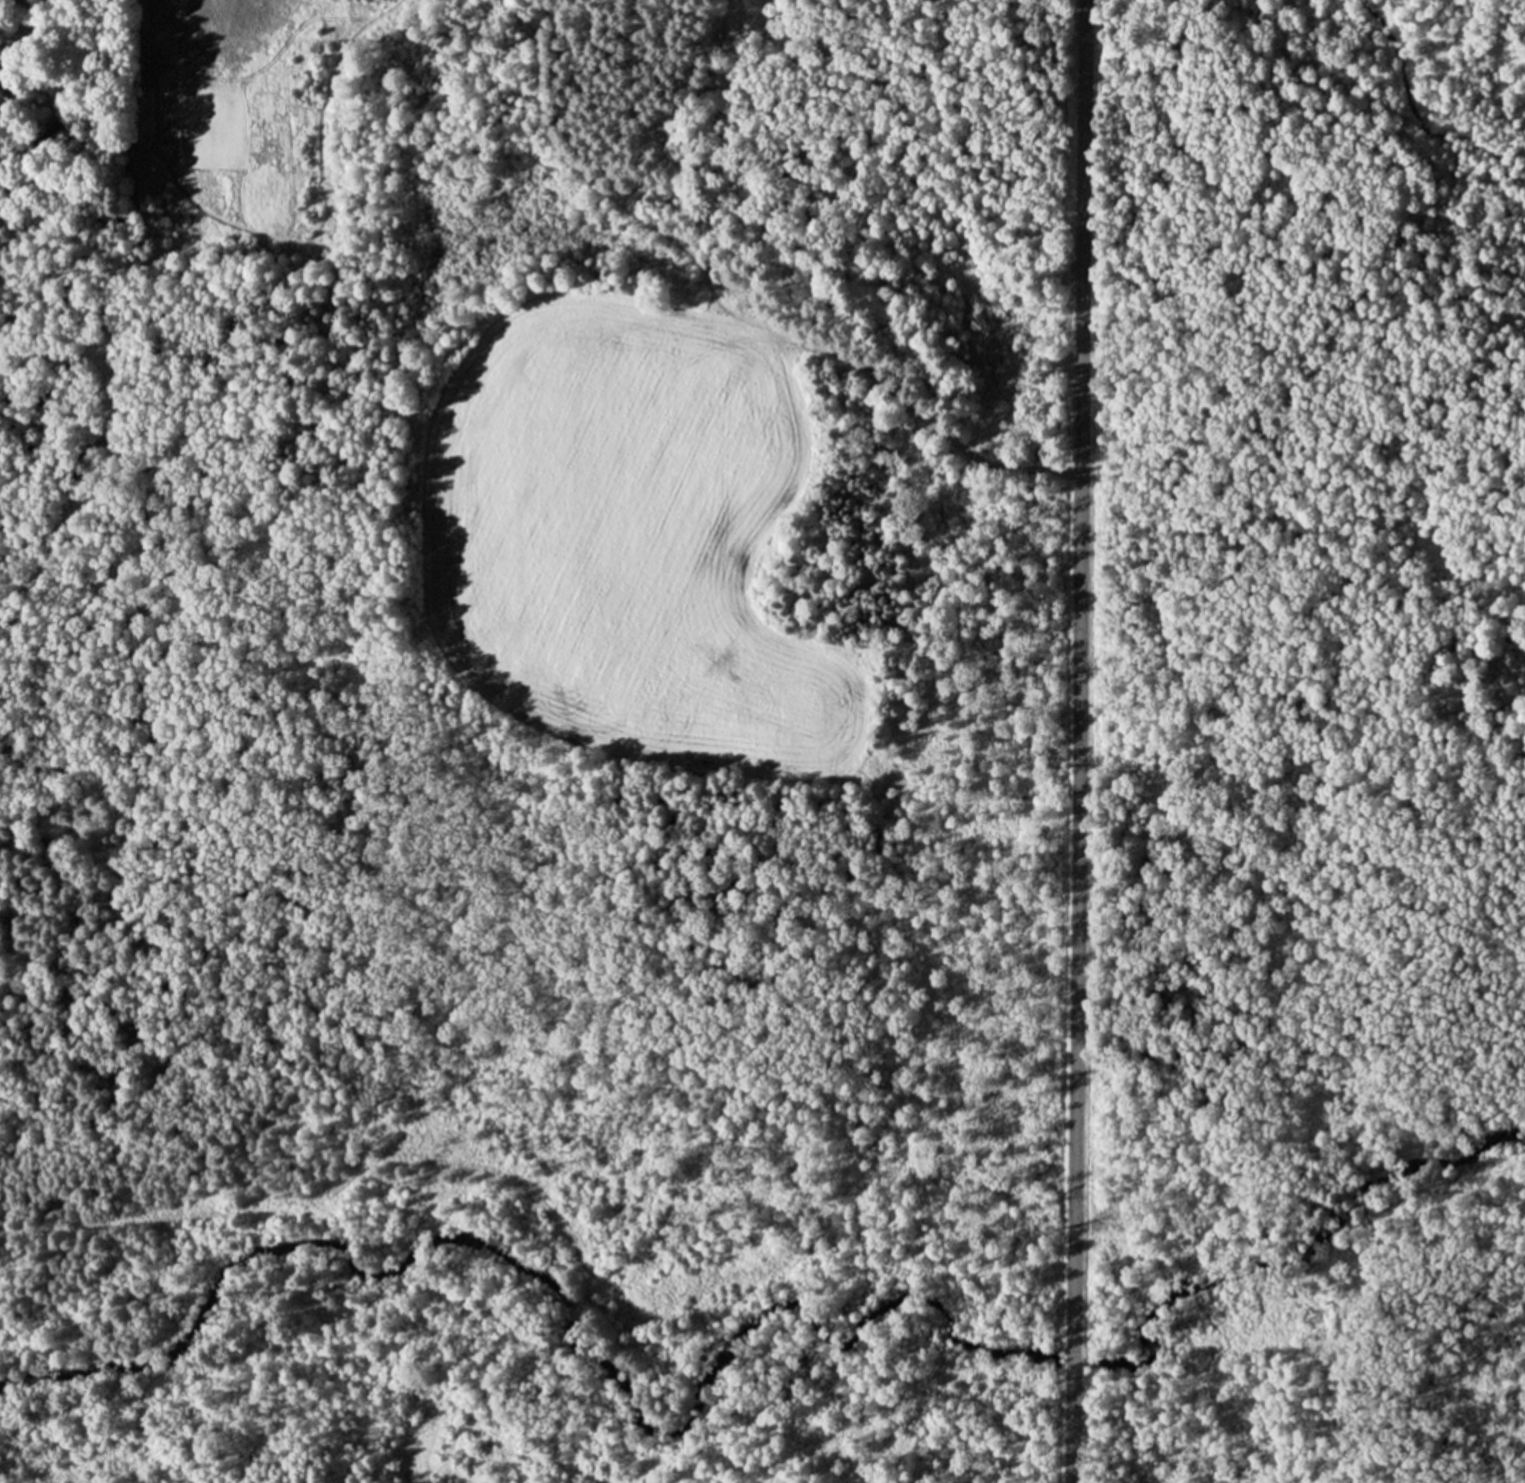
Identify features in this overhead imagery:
road: (1077, 741)

